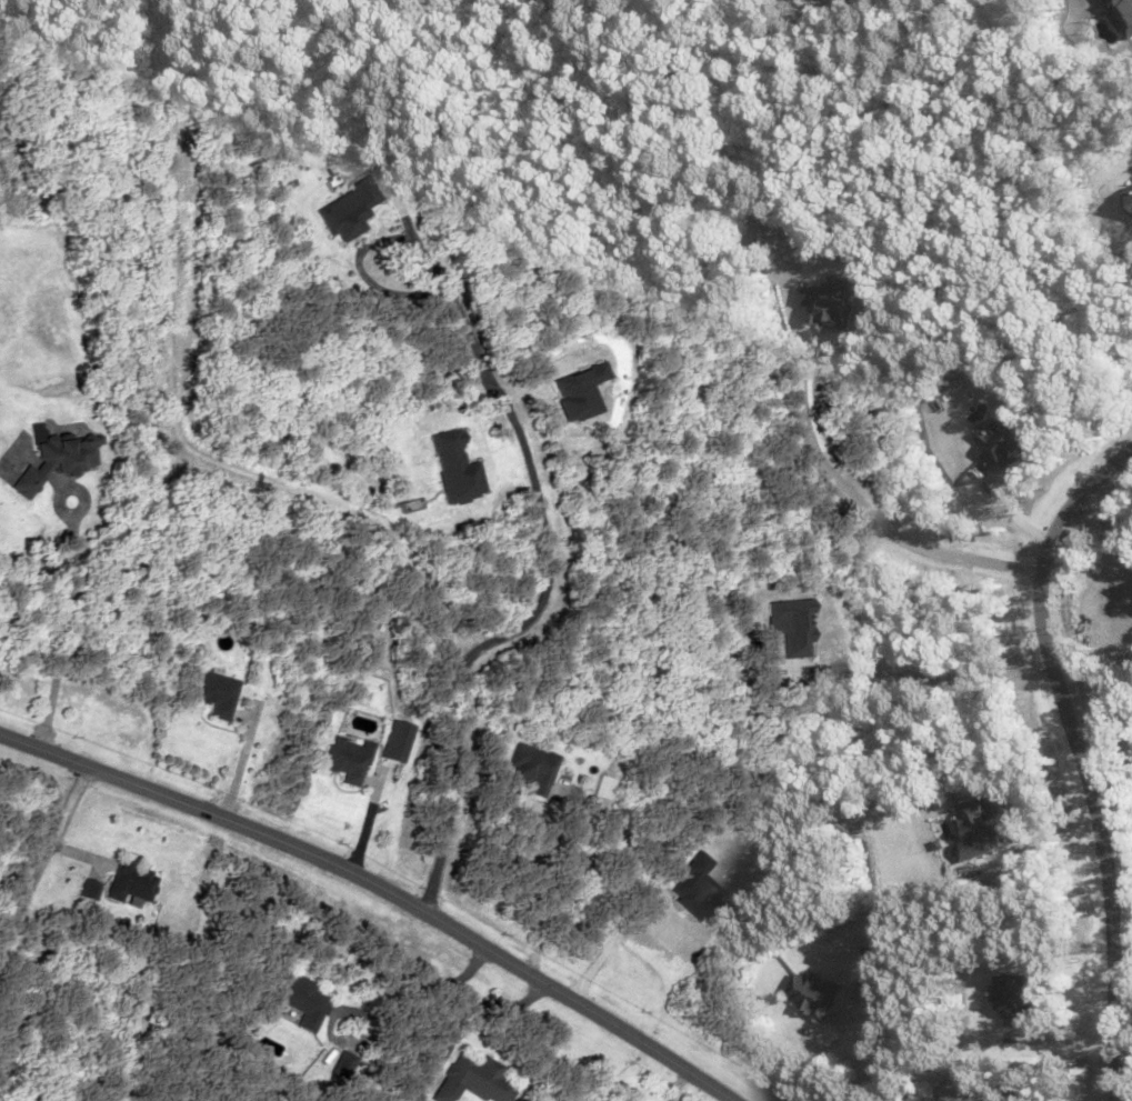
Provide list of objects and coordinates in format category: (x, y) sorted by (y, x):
road: (171, 406)
building: (50, 461)
road: (868, 493)
road: (530, 612)
building: (214, 692)
building: (348, 759)
road: (1083, 759)
building: (530, 768)
building: (602, 787)
road: (43, 858)
building: (130, 881)
building: (86, 888)
road: (381, 888)
building: (813, 992)
building: (302, 999)
building: (342, 1063)
building: (472, 1079)

